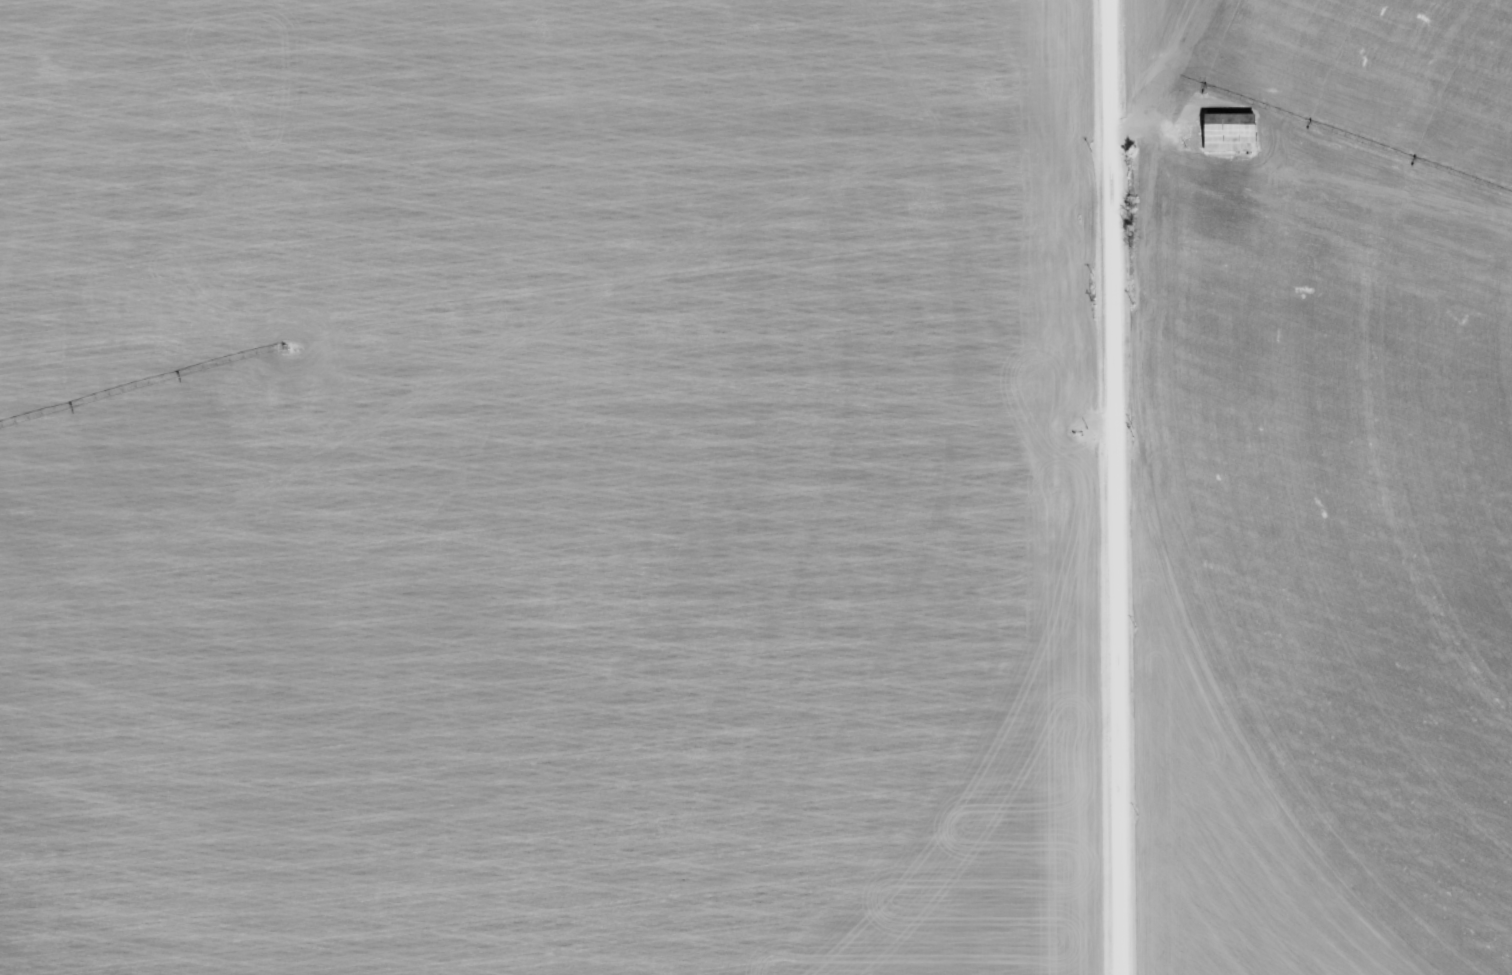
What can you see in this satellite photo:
road: (1112, 487)

